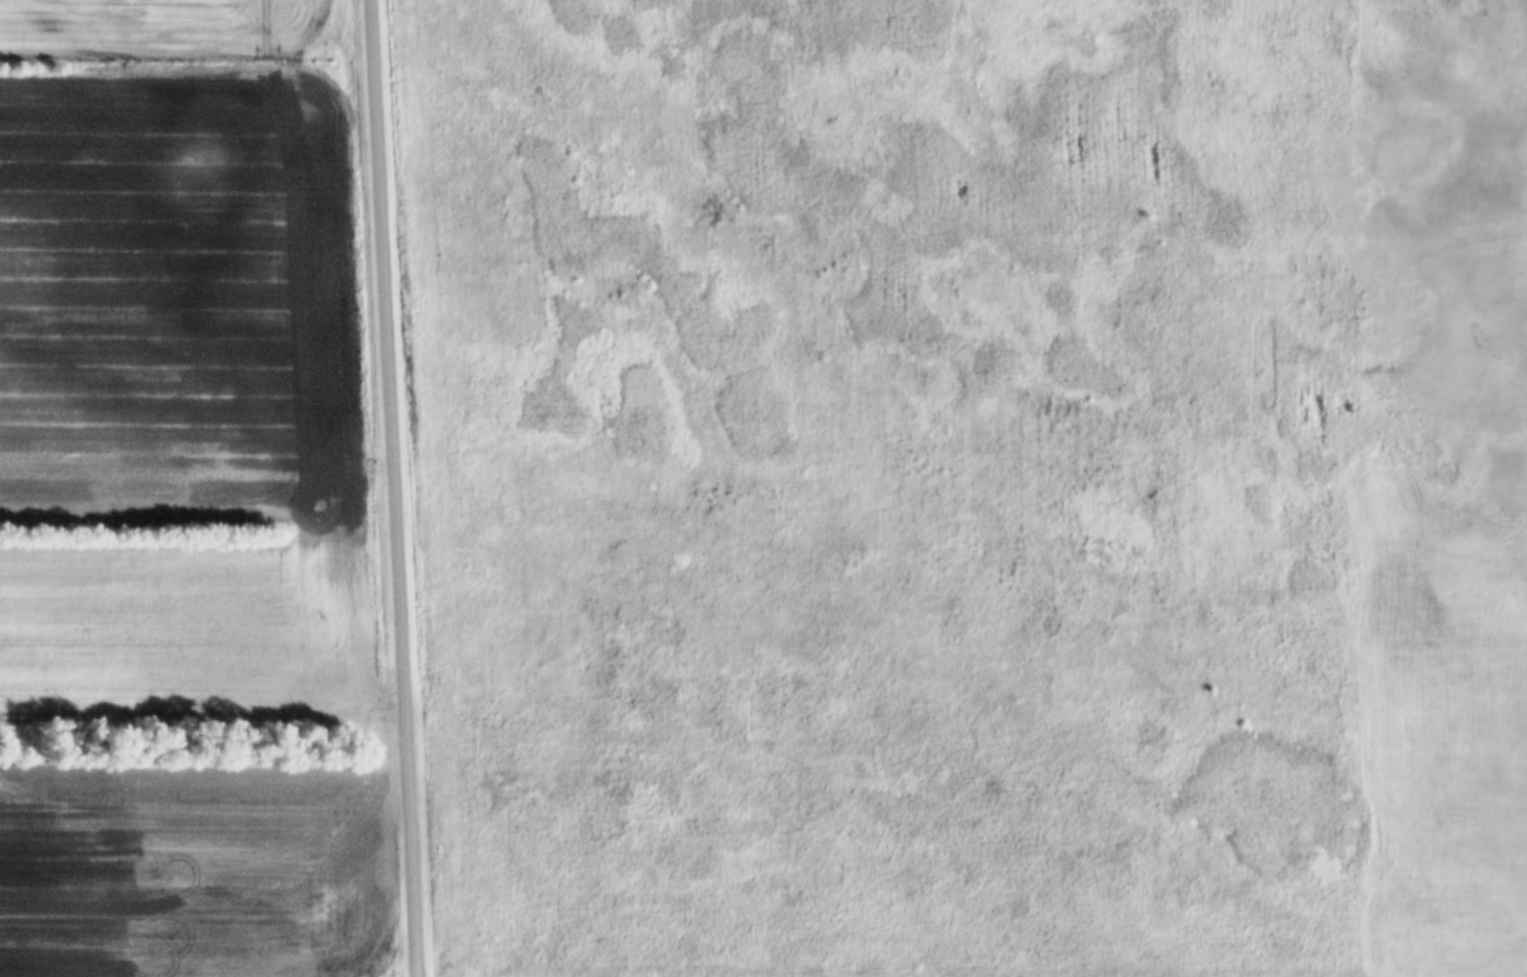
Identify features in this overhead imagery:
crop: (160, 26)
road: (399, 488)
crop: (183, 541)

